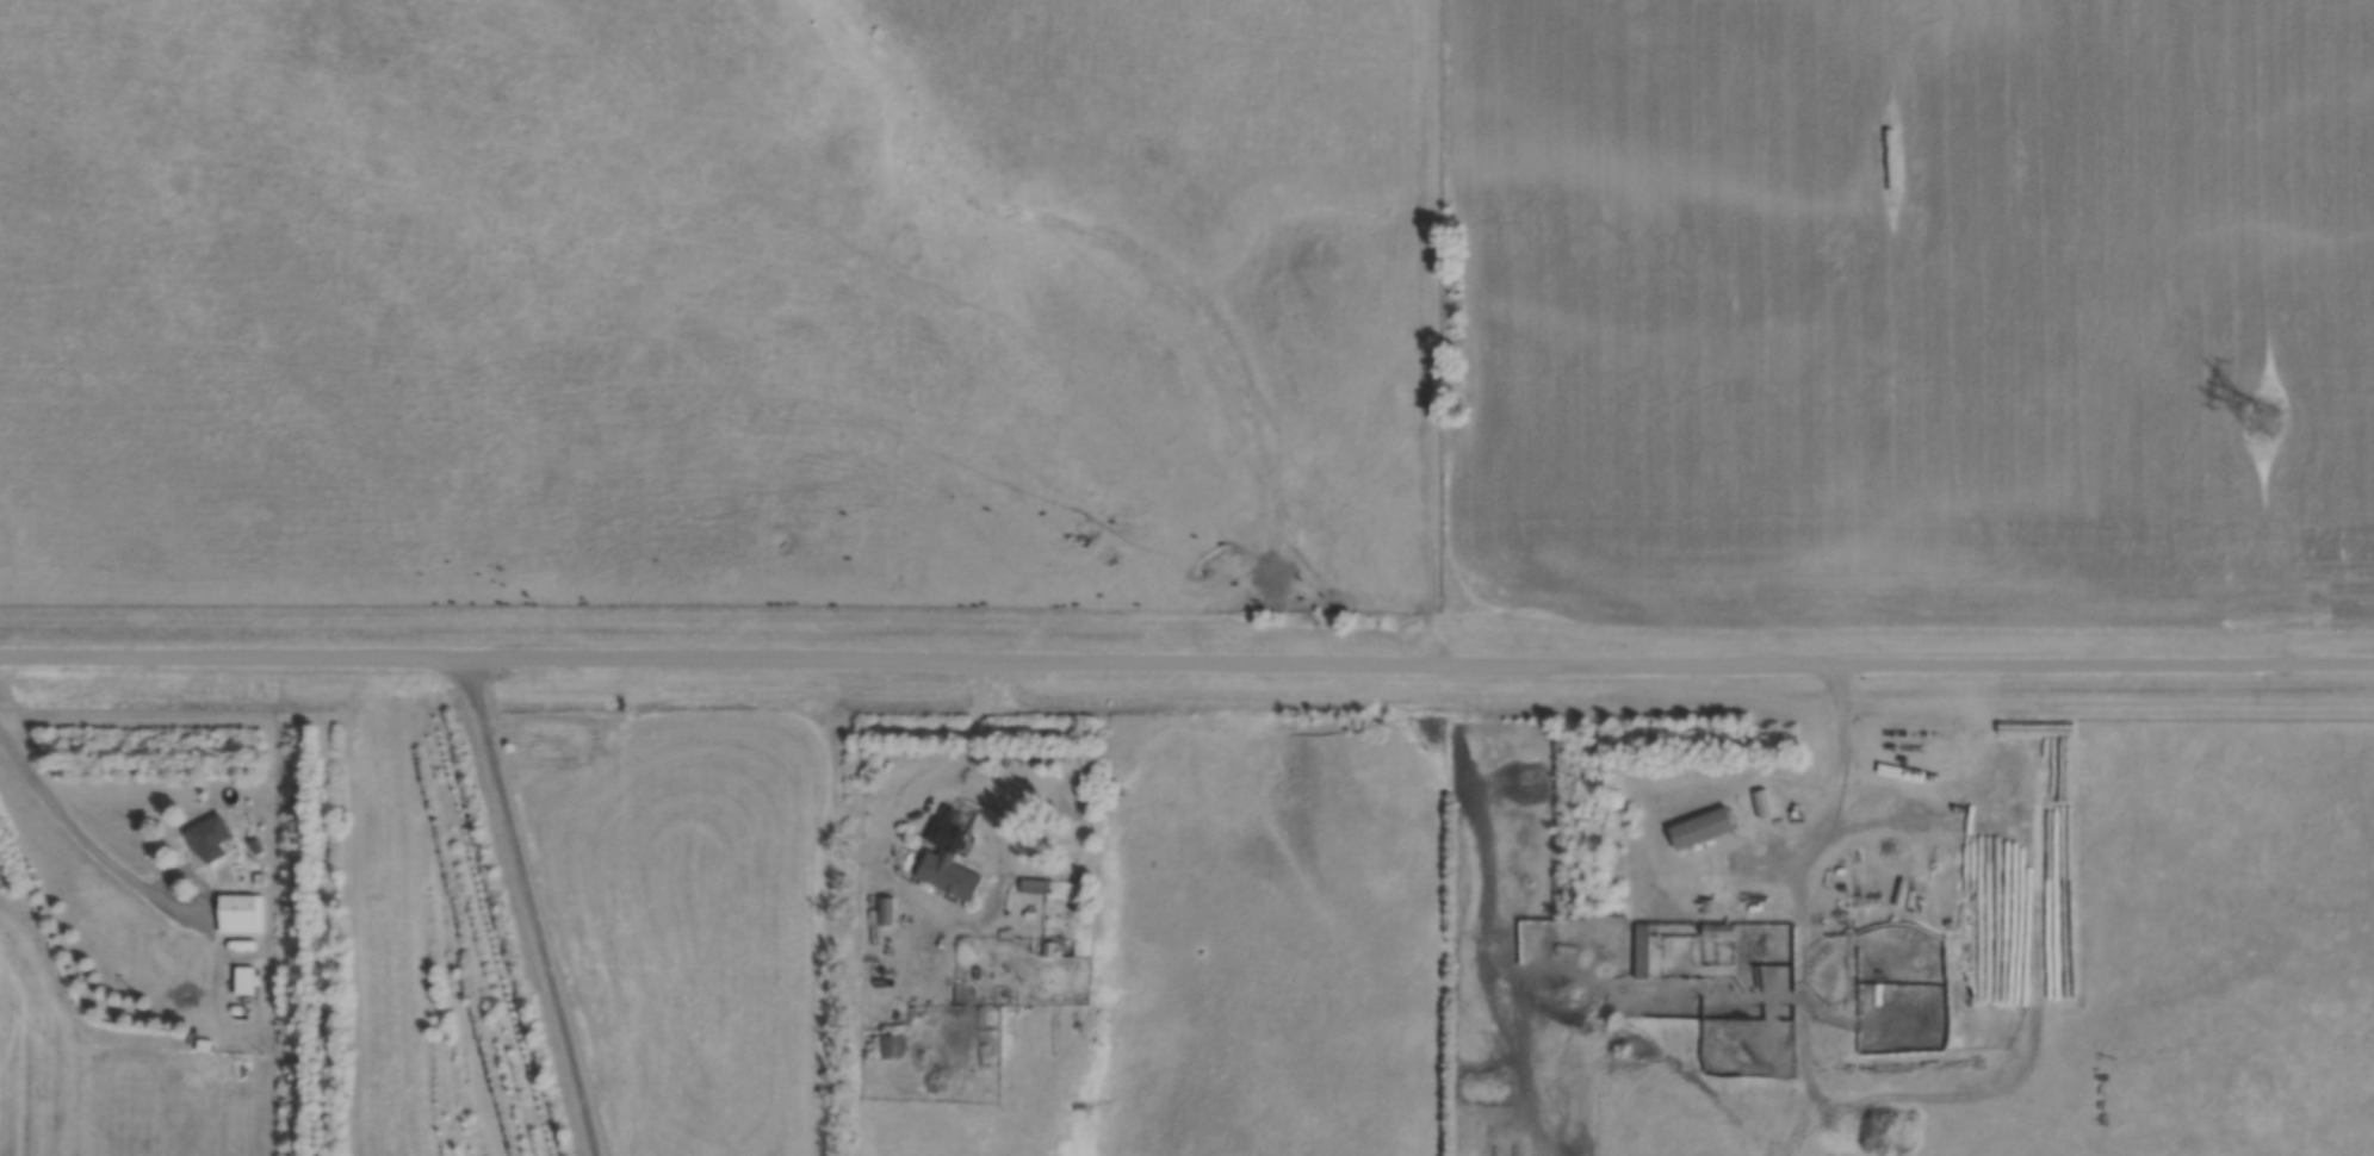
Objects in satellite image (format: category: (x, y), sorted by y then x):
power tower: (2267, 423)
road: (1186, 661)
road: (973, 732)
road: (1835, 797)
building: (1704, 827)
road: (83, 837)
building: (211, 838)
building: (950, 857)
building: (1034, 885)
road: (533, 905)
building: (887, 909)
building: (238, 913)
building: (1643, 950)
building: (888, 1045)
building: (1500, 1146)

